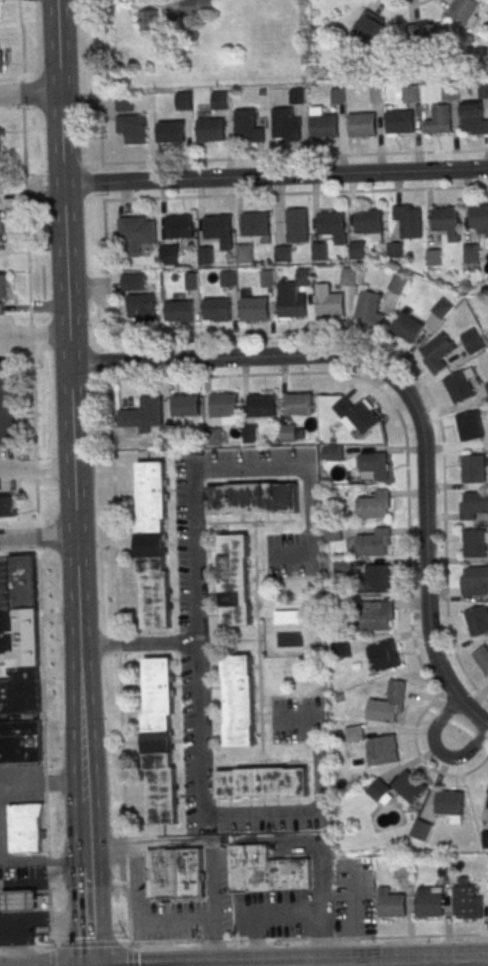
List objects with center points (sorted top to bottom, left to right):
building: (196, 7)
building: (465, 10)
building: (149, 20)
building: (373, 28)
building: (428, 33)
road: (22, 50)
building: (1, 62)
building: (483, 90)
building: (449, 92)
road: (29, 93)
building: (410, 93)
building: (297, 96)
building: (336, 96)
building: (183, 100)
building: (220, 100)
building: (125, 102)
building: (439, 119)
building: (473, 119)
building: (398, 121)
building: (321, 122)
building: (285, 124)
building: (361, 124)
building: (247, 126)
building: (132, 127)
building: (210, 129)
building: (171, 131)
building: (0, 139)
road: (274, 176)
road: (102, 180)
building: (1, 186)
building: (479, 216)
building: (445, 218)
building: (407, 219)
building: (255, 222)
building: (369, 222)
building: (331, 223)
building: (296, 224)
building: (180, 226)
building: (218, 227)
building: (1, 228)
building: (137, 233)
road: (63, 244)
building: (395, 249)
building: (357, 250)
building: (319, 251)
building: (244, 252)
building: (471, 252)
building: (169, 253)
building: (282, 253)
building: (205, 255)
building: (433, 257)
building: (304, 276)
building: (348, 276)
building: (266, 277)
building: (227, 278)
building: (132, 281)
building: (397, 284)
building: (2, 285)
building: (330, 304)
building: (292, 305)
building: (141, 307)
building: (255, 308)
building: (368, 308)
building: (441, 308)
building: (217, 309)
building: (179, 311)
building: (408, 325)
building: (472, 340)
building: (437, 353)
building: (460, 385)
building: (487, 388)
road: (407, 396)
building: (224, 404)
building: (299, 404)
building: (7, 405)
building: (262, 405)
building: (186, 406)
building: (143, 414)
building: (356, 414)
building: (469, 425)
building: (287, 432)
building: (249, 433)
building: (213, 436)
building: (331, 453)
building: (373, 466)
building: (473, 468)
road: (36, 469)
building: (252, 498)
building: (374, 505)
building: (473, 505)
building: (7, 506)
road: (193, 516)
road: (37, 528)
building: (332, 532)
road: (37, 538)
building: (374, 542)
building: (475, 542)
building: (153, 545)
building: (377, 577)
building: (235, 580)
building: (474, 580)
building: (22, 583)
building: (377, 615)
building: (288, 616)
building: (477, 620)
building: (340, 649)
building: (382, 655)
road: (39, 656)
building: (483, 656)
road: (79, 677)
building: (20, 691)
building: (239, 700)
building: (388, 703)
road: (40, 716)
building: (354, 733)
building: (20, 741)
building: (159, 741)
building: (382, 750)
road: (438, 750)
building: (262, 782)
road: (41, 784)
building: (398, 788)
building: (450, 805)
road: (222, 813)
building: (25, 827)
building: (421, 829)
building: (485, 838)
road: (188, 842)
road: (42, 859)
building: (403, 868)
building: (266, 870)
road: (86, 873)
building: (175, 874)
building: (465, 899)
building: (429, 901)
building: (20, 902)
building: (391, 903)
road: (88, 922)
road: (138, 922)
road: (243, 940)
road: (217, 943)
road: (130, 954)

